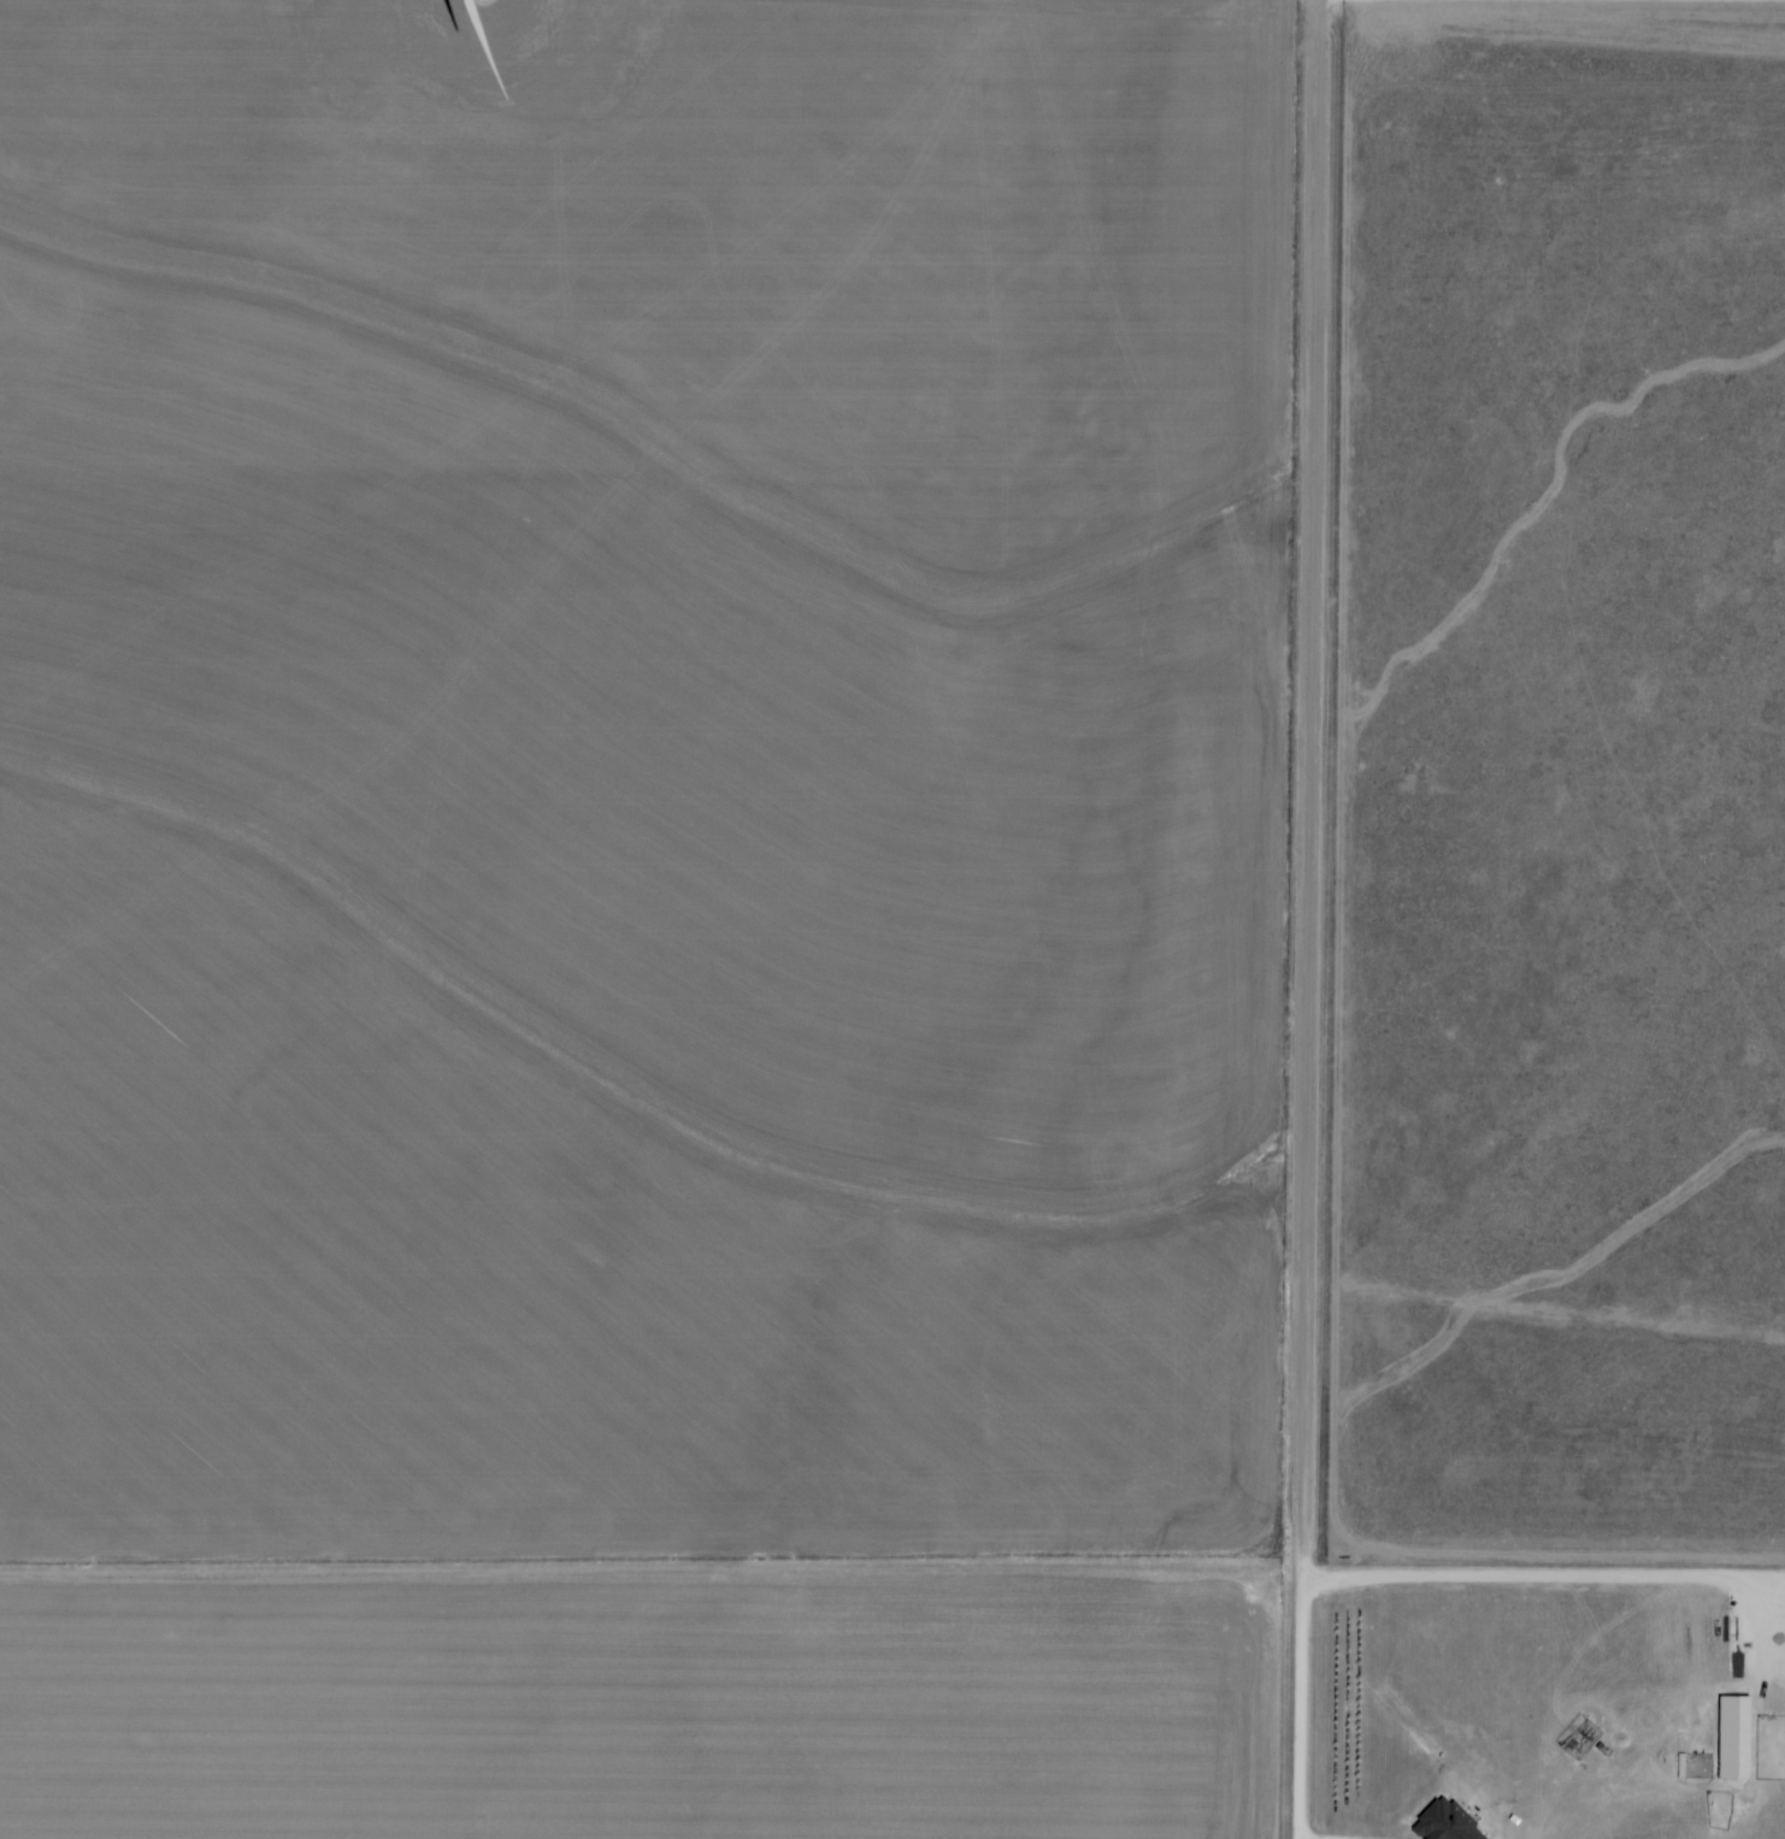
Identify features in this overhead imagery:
road: (1313, 919)

